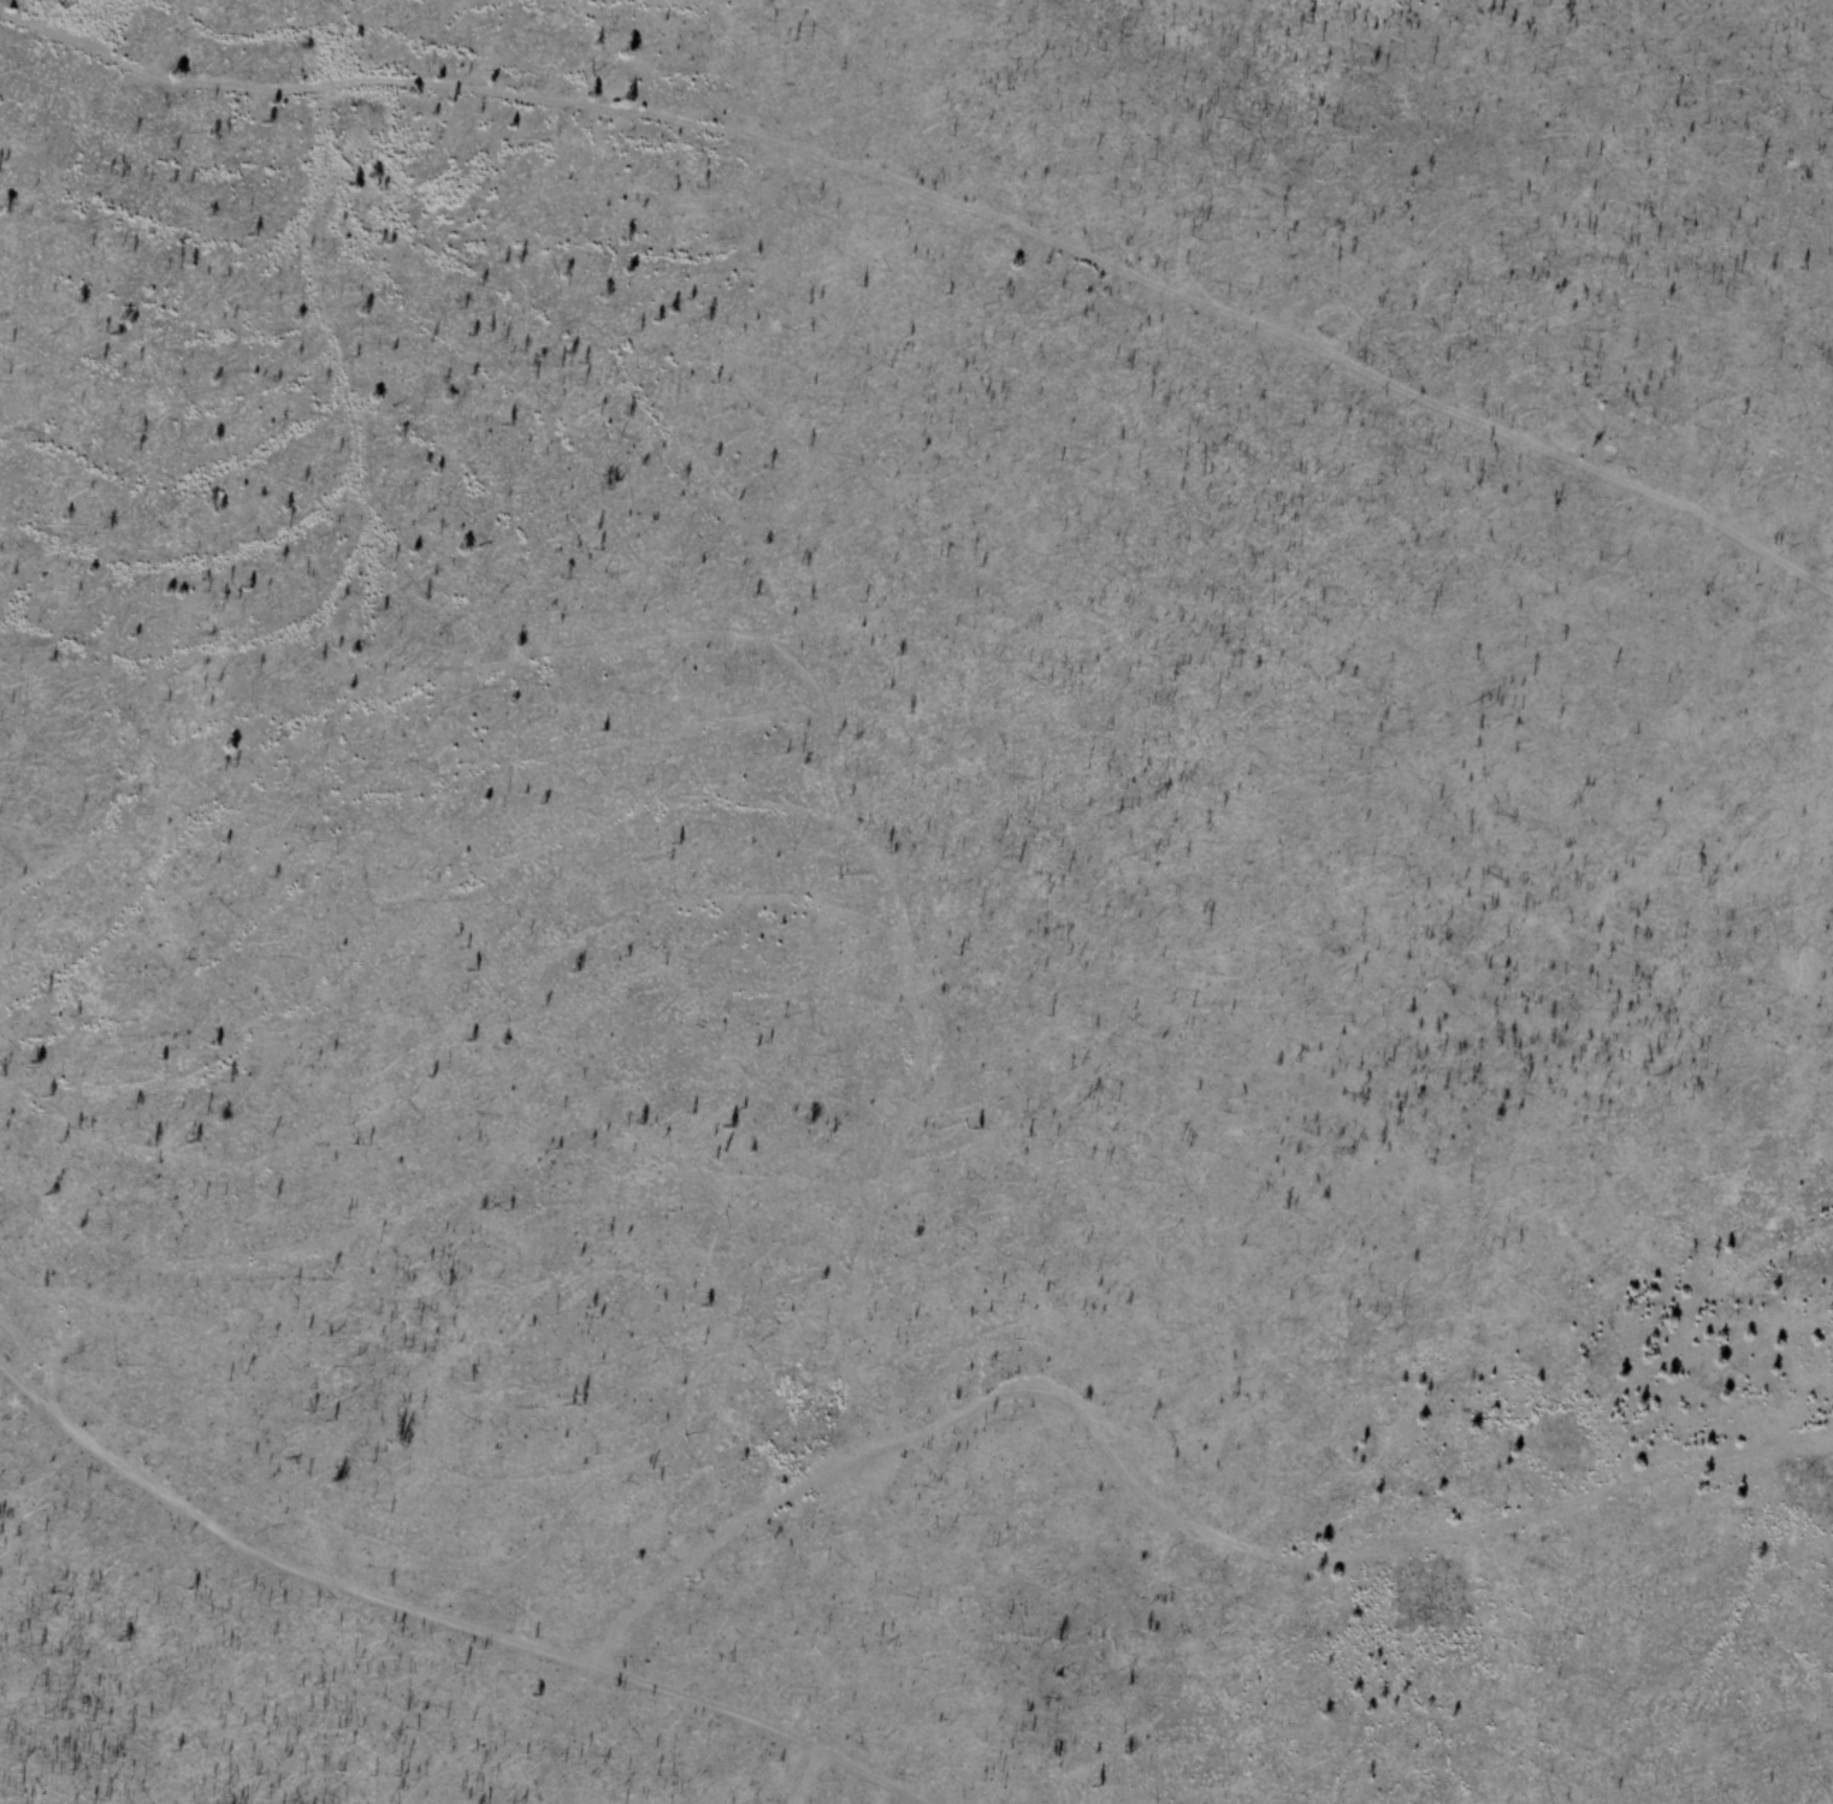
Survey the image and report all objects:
road: (945, 196)
road: (1153, 1507)
road: (439, 1615)
road: (792, 1772)

